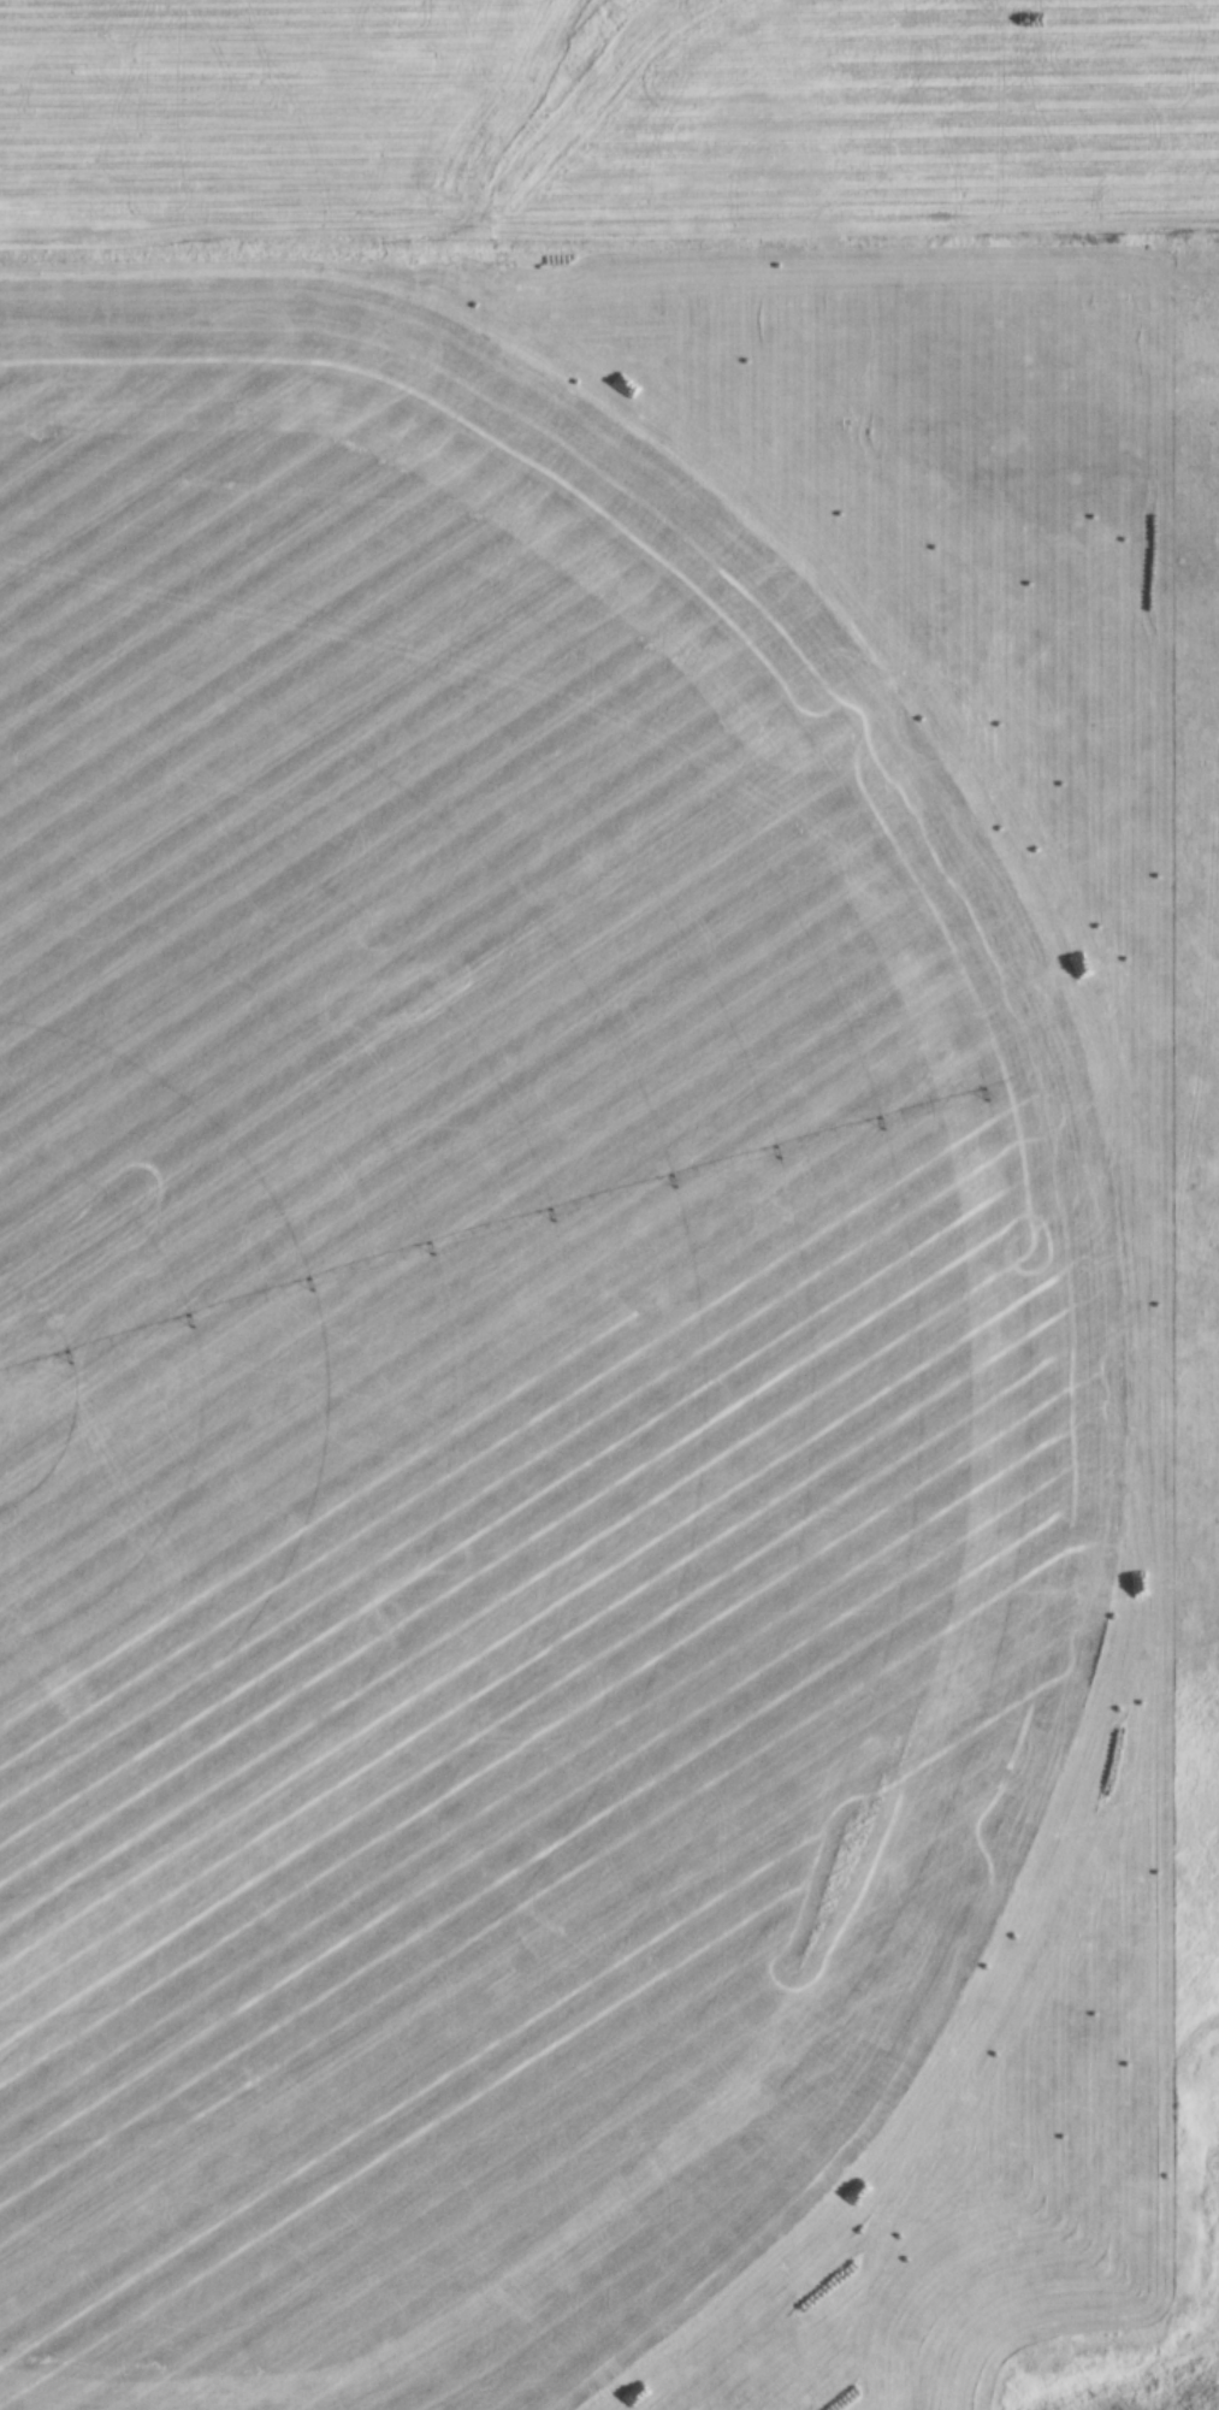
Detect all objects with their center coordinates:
building: (208, 73)

